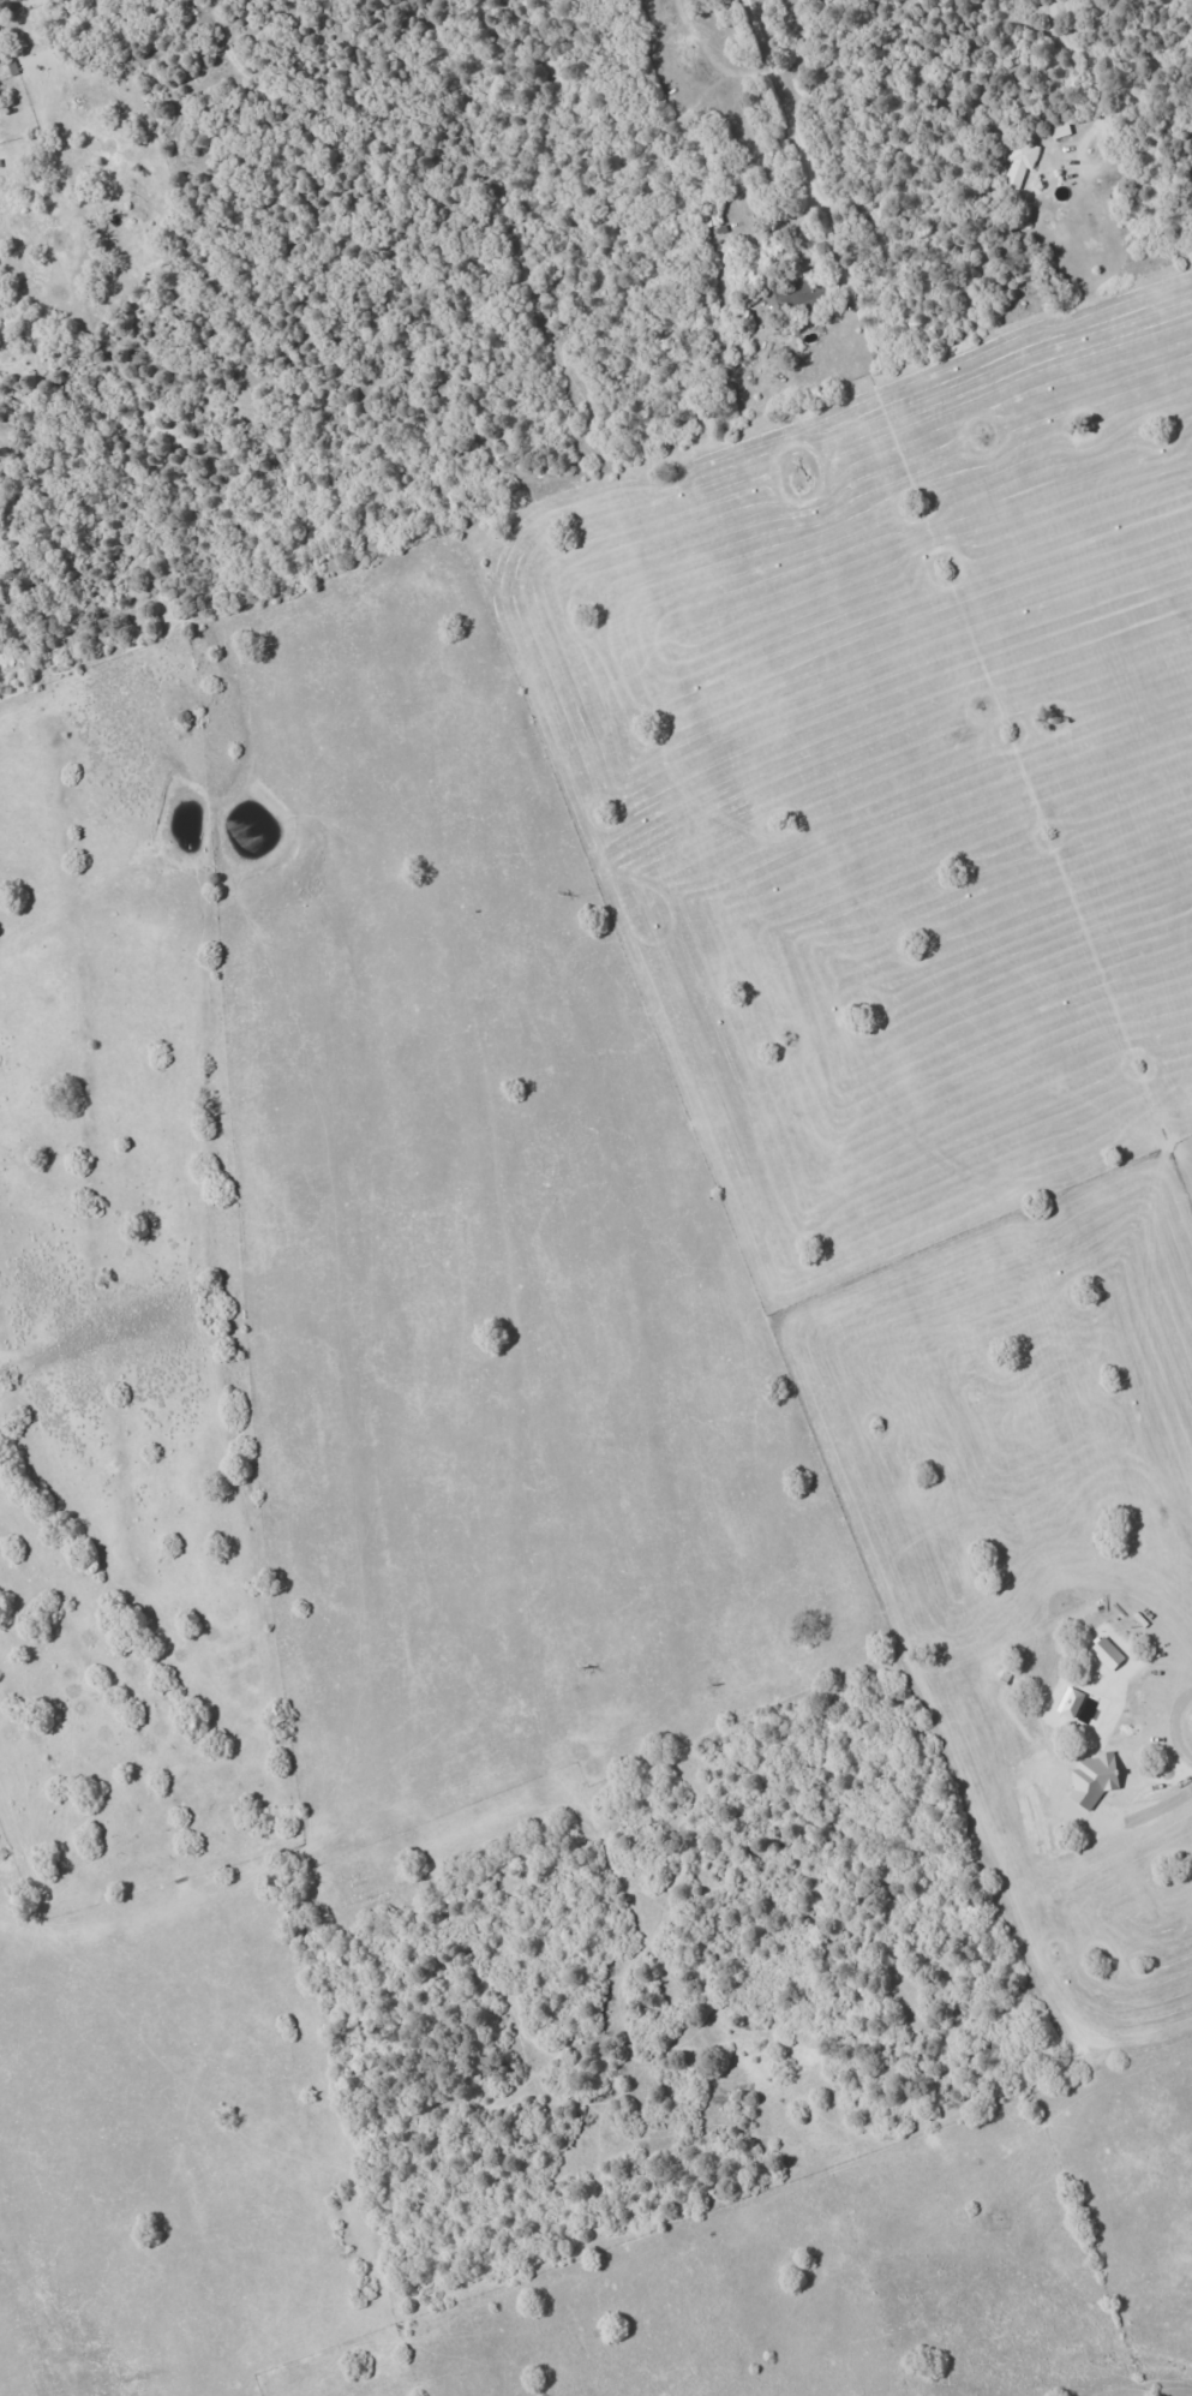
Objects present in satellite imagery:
road: (1074, 59)
building: (1059, 131)
road: (793, 142)
road: (1079, 161)
building: (1019, 165)
building: (1106, 1654)
building: (1068, 1702)

